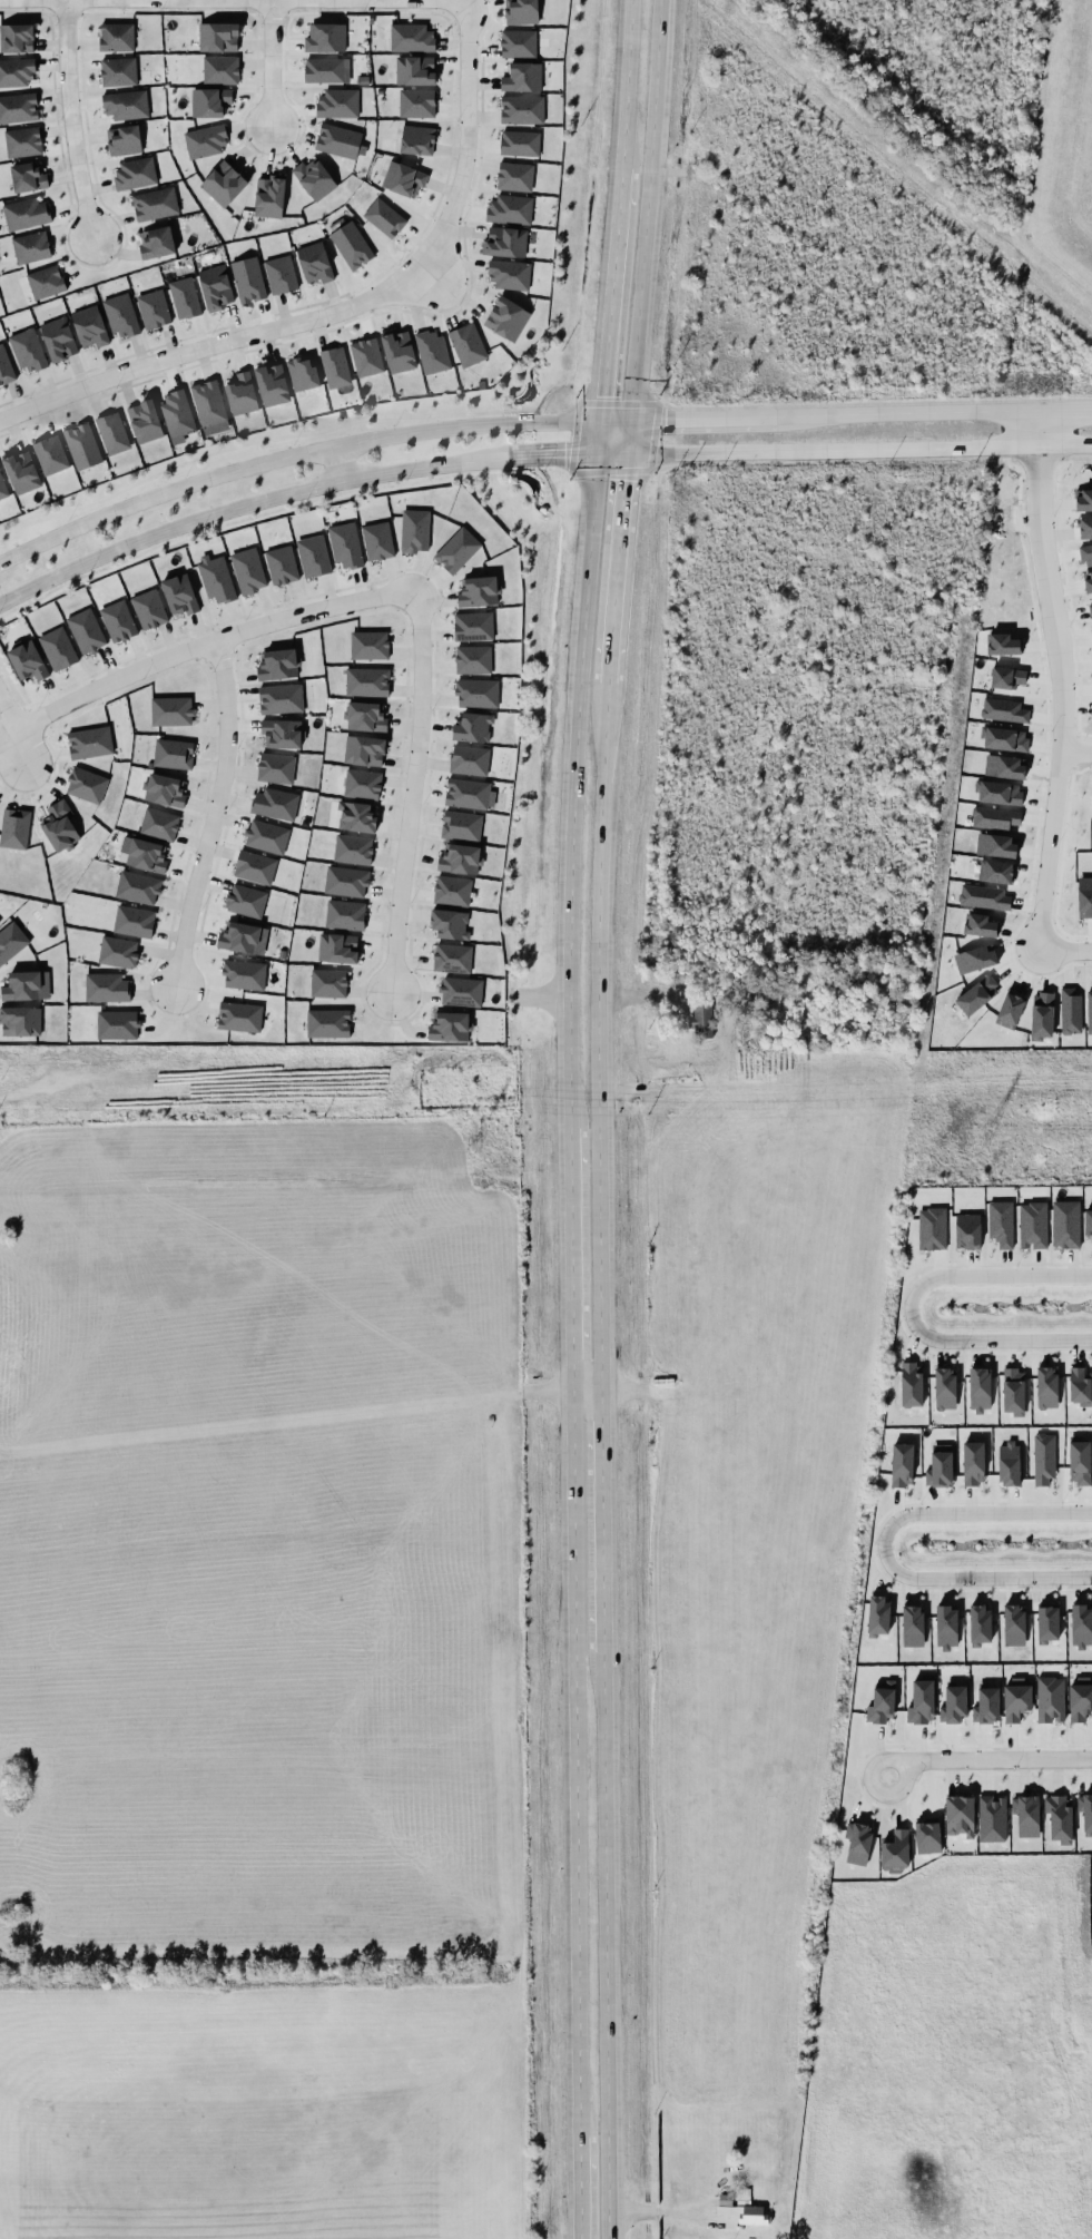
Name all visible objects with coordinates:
road: (417, 0)
building: (521, 11)
building: (117, 36)
building: (218, 37)
building: (325, 37)
building: (16, 38)
building: (412, 38)
building: (518, 43)
road: (269, 62)
building: (220, 69)
building: (118, 70)
building: (326, 70)
building: (415, 70)
building: (16, 72)
building: (522, 77)
road: (626, 81)
building: (210, 101)
building: (338, 102)
building: (416, 102)
building: (125, 104)
building: (18, 107)
building: (522, 108)
road: (70, 118)
building: (124, 139)
building: (417, 139)
building: (206, 140)
building: (338, 140)
building: (22, 141)
building: (520, 143)
building: (134, 174)
building: (514, 176)
building: (28, 177)
building: (314, 178)
building: (403, 178)
building: (224, 183)
building: (269, 196)
building: (155, 204)
building: (509, 208)
road: (643, 208)
building: (27, 213)
building: (384, 217)
building: (156, 242)
building: (505, 242)
building: (351, 245)
building: (31, 247)
building: (315, 262)
building: (281, 274)
road: (431, 274)
building: (510, 274)
building: (248, 279)
building: (46, 282)
building: (216, 286)
building: (185, 297)
building: (154, 308)
road: (344, 308)
road: (608, 308)
building: (121, 315)
building: (506, 317)
building: (90, 326)
building: (58, 338)
building: (468, 344)
building: (27, 350)
building: (397, 350)
building: (432, 351)
building: (366, 356)
building: (4, 366)
building: (335, 366)
building: (303, 372)
building: (272, 384)
building: (242, 393)
traffic signals: (601, 396)
building: (210, 406)
road: (1061, 409)
road: (907, 412)
building: (177, 414)
road: (692, 416)
traffic signals: (666, 418)
building: (145, 421)
building: (112, 432)
road: (627, 435)
building: (82, 445)
road: (858, 450)
building: (50, 454)
road: (292, 454)
road: (611, 454)
road: (553, 456)
traffic signals: (565, 456)
road: (335, 462)
building: (21, 470)
traffic signals: (623, 482)
building: (2, 488)
building: (1083, 499)
road: (246, 503)
building: (1085, 527)
building: (415, 530)
building: (377, 540)
building: (345, 544)
building: (456, 549)
building: (1086, 553)
building: (313, 556)
building: (282, 564)
road: (616, 567)
building: (248, 570)
building: (217, 579)
building: (1088, 580)
building: (478, 590)
building: (179, 593)
road: (1047, 596)
building: (149, 609)
building: (1090, 610)
building: (118, 620)
building: (473, 626)
building: (86, 630)
road: (200, 641)
building: (1002, 644)
building: (370, 645)
building: (58, 648)
building: (473, 659)
building: (28, 660)
building: (278, 664)
building: (1007, 677)
building: (367, 681)
building: (476, 693)
building: (281, 698)
building: (1004, 709)
building: (171, 710)
road: (6, 714)
building: (366, 716)
building: (473, 727)
road: (2, 731)
building: (282, 733)
building: (1004, 738)
building: (89, 742)
road: (13, 747)
building: (364, 749)
building: (173, 753)
building: (469, 759)
building: (1005, 766)
building: (276, 767)
building: (362, 783)
building: (86, 784)
road: (410, 789)
road: (571, 789)
building: (165, 790)
building: (998, 792)
building: (469, 793)
building: (275, 803)
road: (211, 812)
building: (356, 816)
building: (995, 817)
building: (159, 823)
building: (59, 825)
building: (461, 825)
building: (14, 827)
building: (266, 836)
building: (996, 844)
building: (353, 848)
building: (142, 854)
building: (460, 858)
building: (254, 866)
building: (995, 871)
building: (346, 881)
road: (1043, 885)
building: (138, 887)
building: (452, 890)
building: (984, 896)
building: (1084, 896)
building: (245, 900)
building: (345, 914)
building: (134, 921)
building: (450, 923)
building: (980, 924)
building: (243, 936)
building: (11, 941)
building: (337, 947)
building: (118, 951)
building: (452, 958)
building: (975, 959)
building: (244, 974)
building: (328, 982)
building: (27, 985)
building: (106, 986)
building: (461, 991)
building: (977, 994)
building: (1010, 1010)
building: (1070, 1010)
building: (1089, 1012)
building: (1042, 1013)
building: (239, 1015)
building: (20, 1020)
building: (701, 1020)
building: (328, 1022)
building: (117, 1024)
building: (450, 1025)
road: (593, 1032)
power tower: (986, 1141)
power tower: (478, 1145)
building: (1088, 1221)
building: (1001, 1222)
building: (1033, 1224)
building: (1065, 1224)
building: (932, 1228)
building: (967, 1230)
road: (568, 1255)
road: (909, 1312)
building: (912, 1384)
road: (582, 1385)
building: (1046, 1386)
building: (1079, 1386)
building: (945, 1387)
building: (980, 1388)
building: (1013, 1391)
building: (1043, 1459)
building: (973, 1462)
building: (1079, 1462)
building: (1009, 1463)
building: (902, 1464)
building: (939, 1465)
road: (598, 1518)
road: (881, 1544)
building: (877, 1614)
building: (980, 1623)
building: (1047, 1623)
building: (913, 1624)
building: (1014, 1624)
building: (1082, 1626)
building: (946, 1627)
building: (1080, 1698)
building: (1016, 1699)
building: (1050, 1699)
building: (882, 1701)
building: (921, 1701)
building: (986, 1703)
building: (953, 1705)
road: (572, 1758)
road: (987, 1758)
building: (1085, 1813)
building: (1026, 1814)
building: (960, 1815)
building: (1060, 1817)
building: (992, 1818)
building: (857, 1842)
building: (895, 1850)
road: (602, 1944)
road: (577, 2186)
building: (745, 2213)

